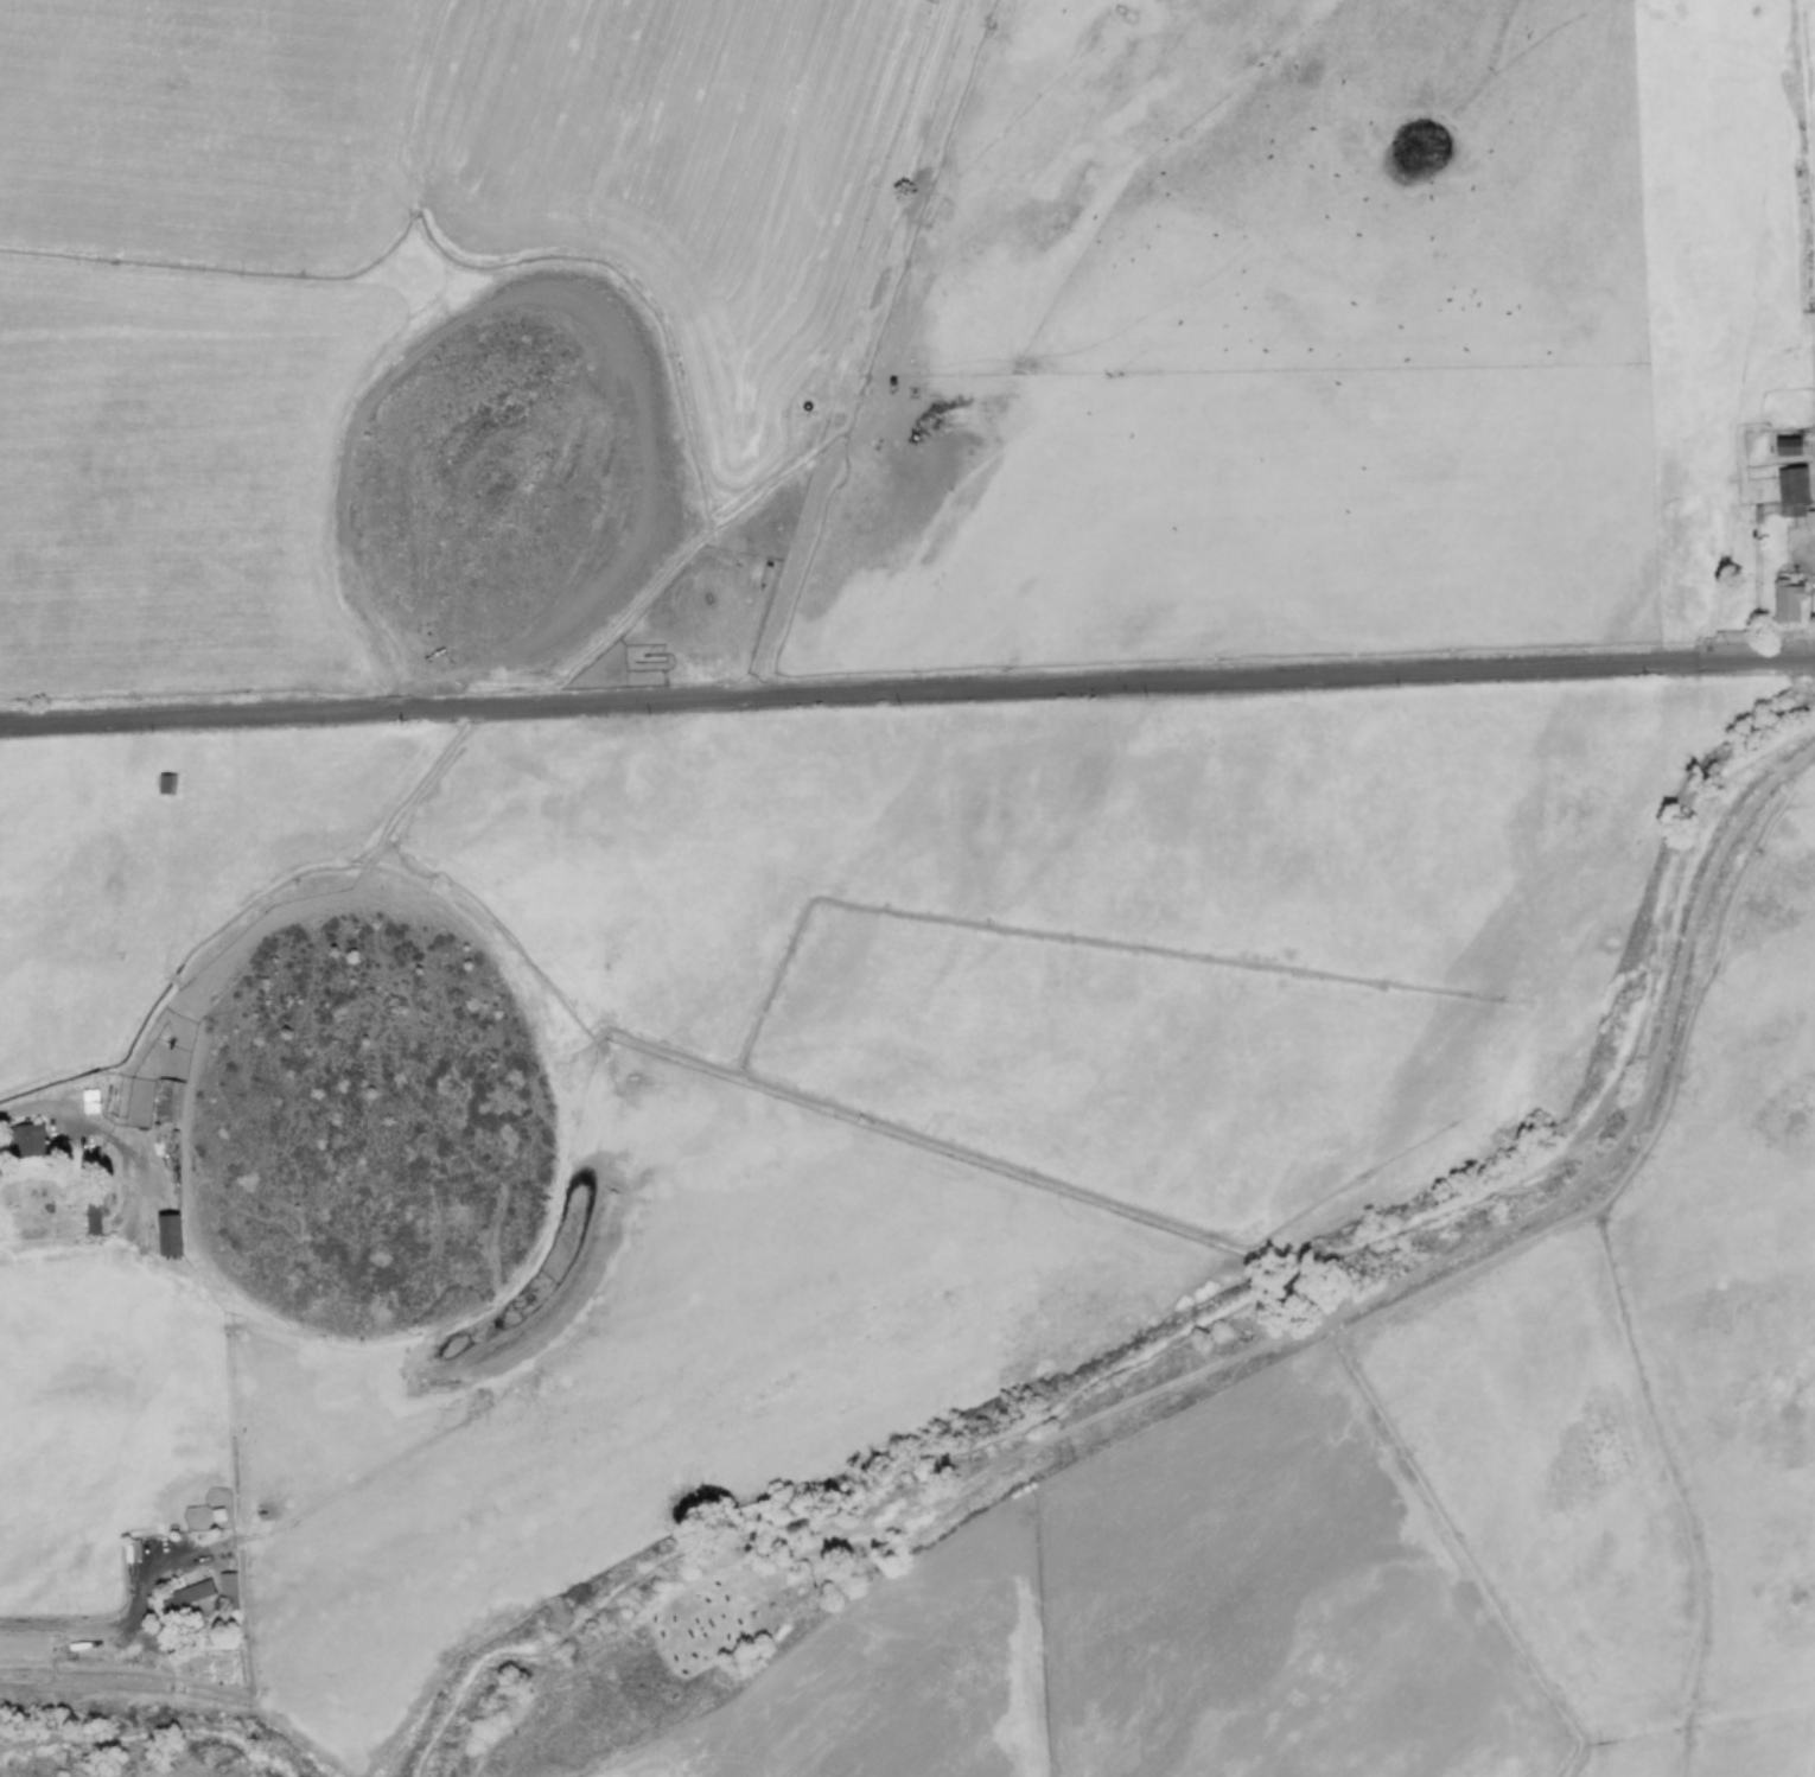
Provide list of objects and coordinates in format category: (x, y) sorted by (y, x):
building: (1784, 446)
building: (1790, 491)
building: (1783, 600)
road: (906, 689)
building: (87, 1101)
building: (20, 1138)
building: (164, 1235)
building: (224, 1584)
building: (186, 1601)
road: (72, 1632)

